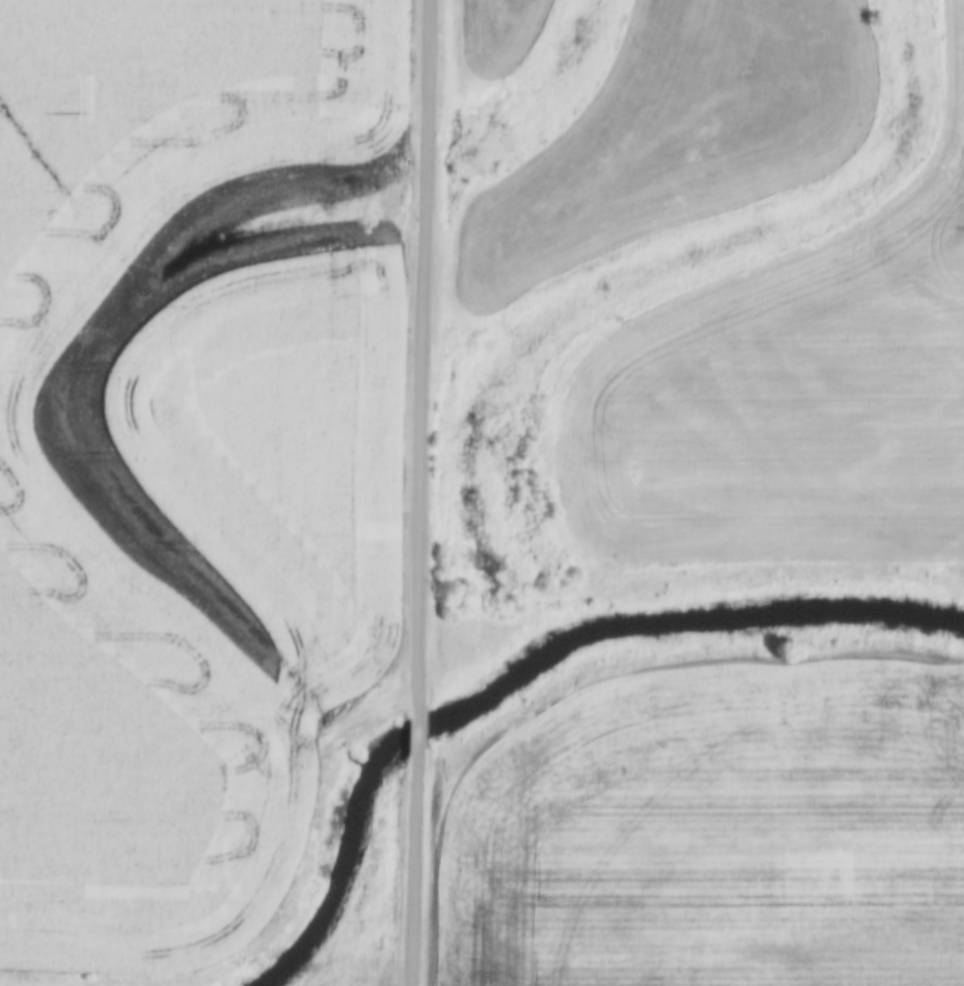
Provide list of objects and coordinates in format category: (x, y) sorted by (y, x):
road: (420, 355)
crop: (785, 400)
crop: (284, 445)
crop: (45, 498)
road: (415, 732)
crop: (713, 835)
road: (411, 869)
crop: (370, 985)

